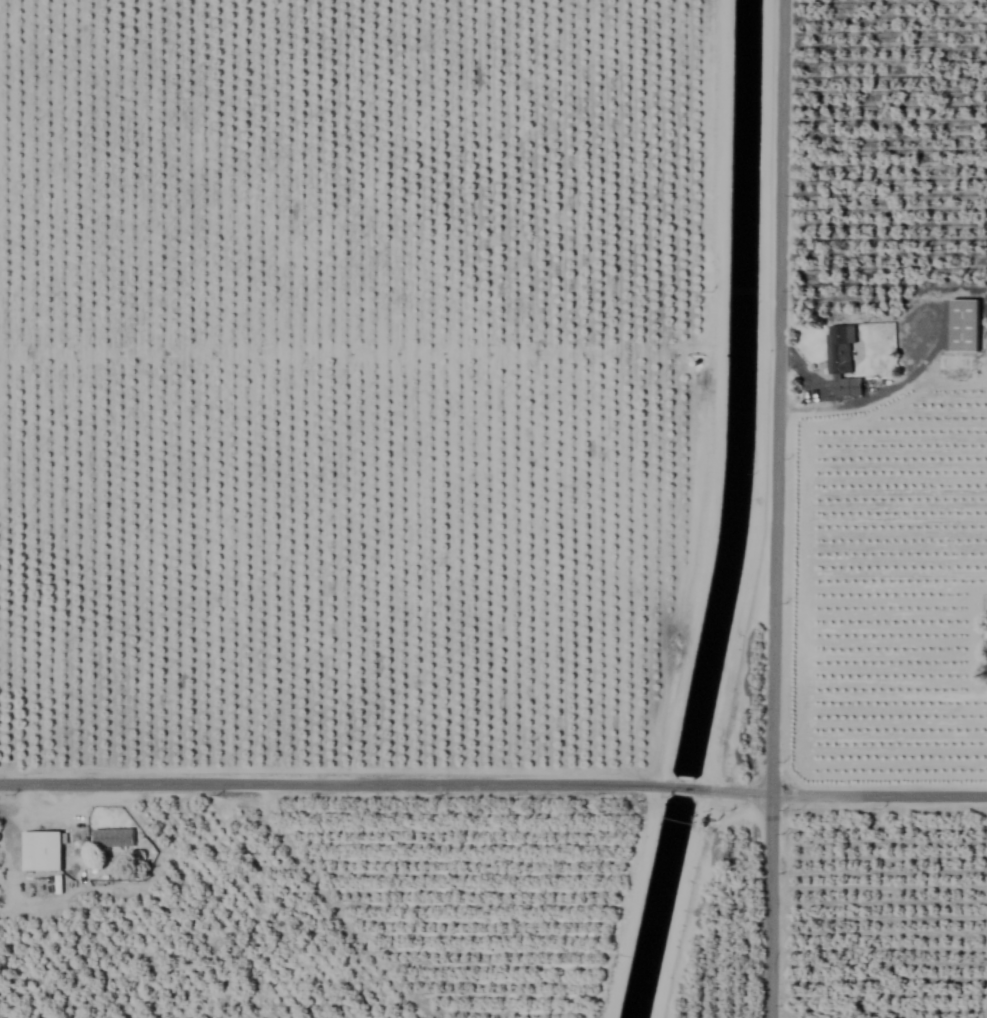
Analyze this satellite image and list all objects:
building: (963, 326)
building: (840, 360)
road: (776, 508)
crop: (493, 509)
road: (493, 782)
building: (112, 838)
building: (40, 851)

